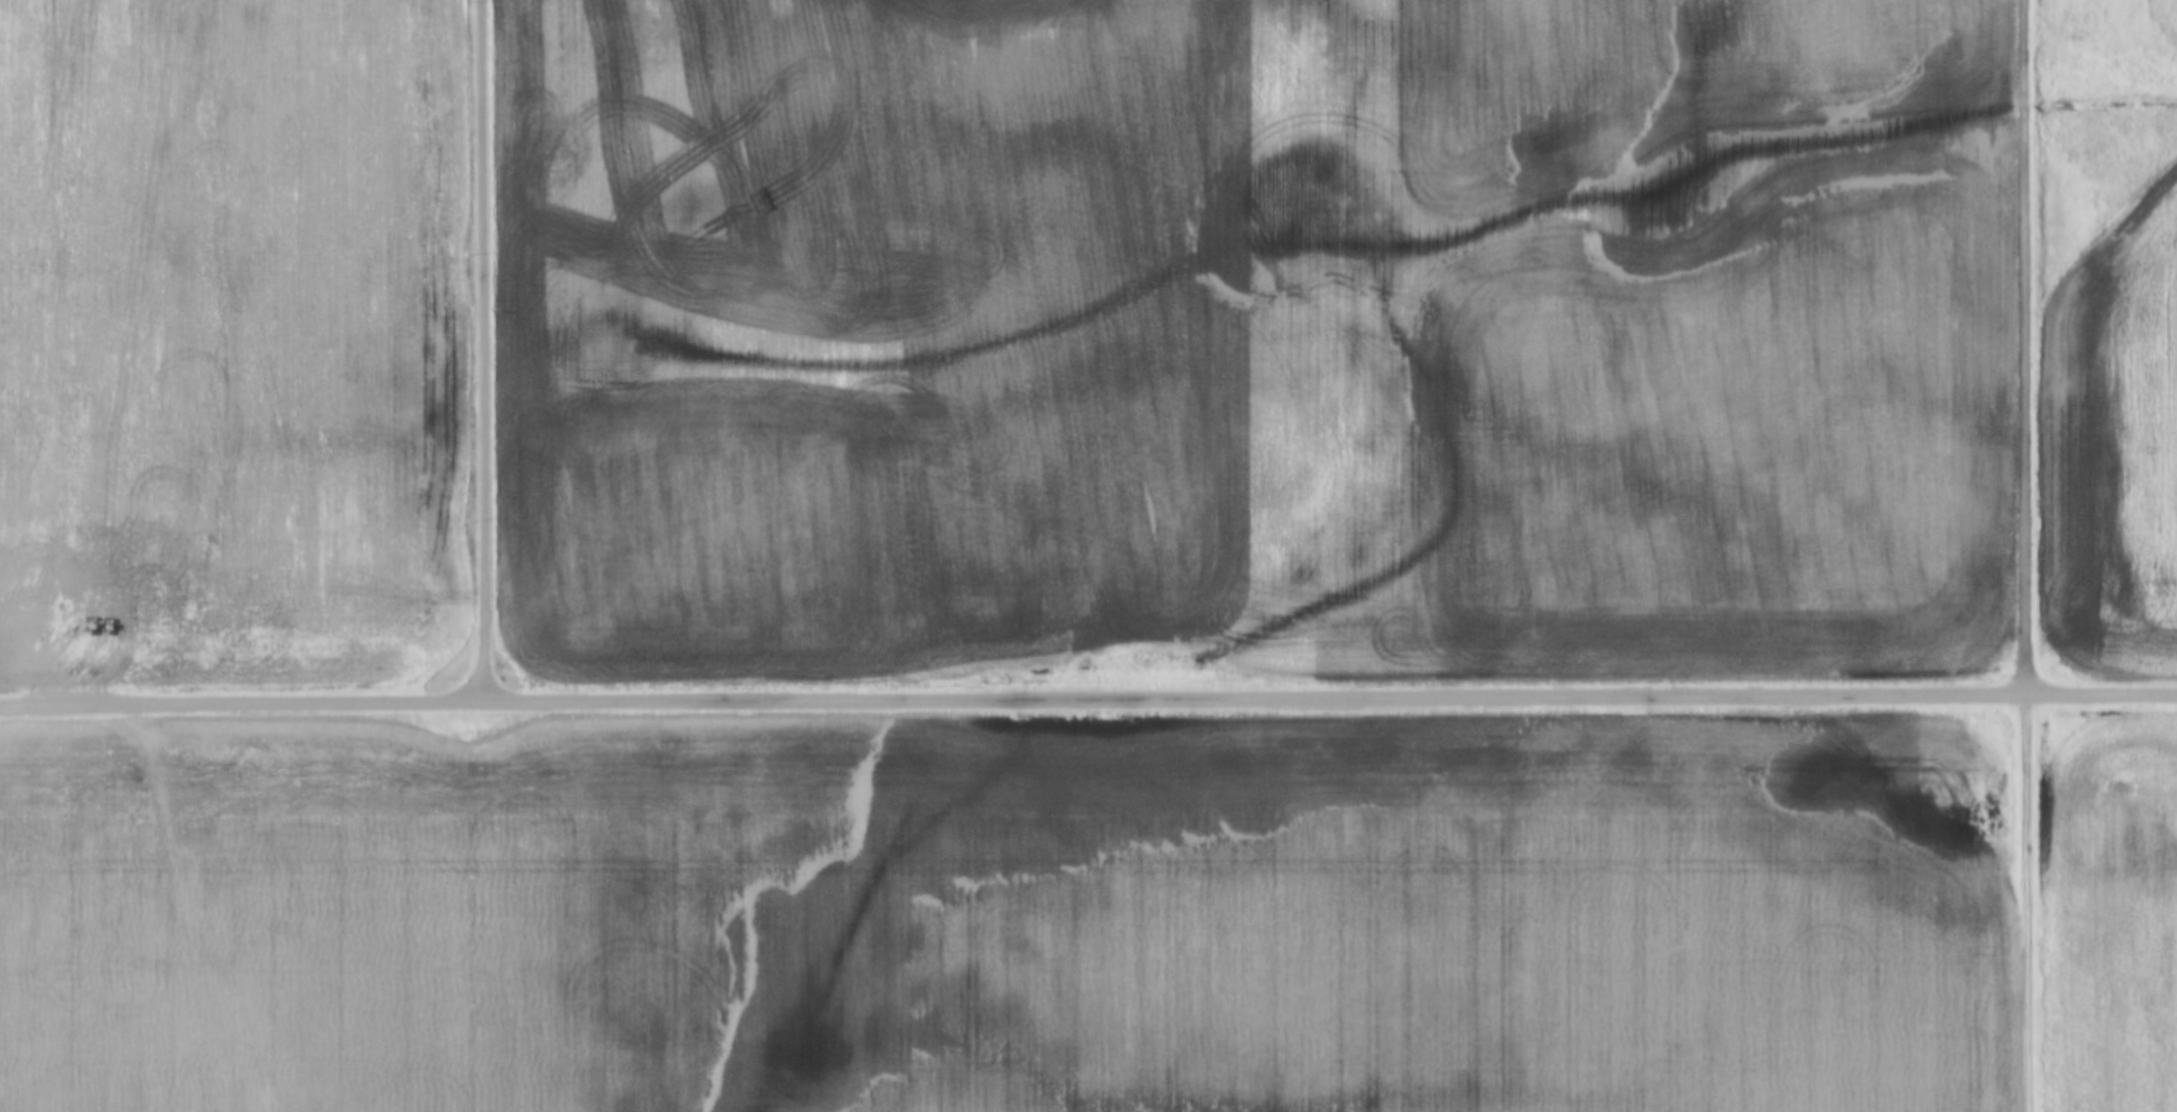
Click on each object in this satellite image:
road: (485, 348)
road: (2029, 556)
road: (1087, 698)
building: (2027, 1093)

